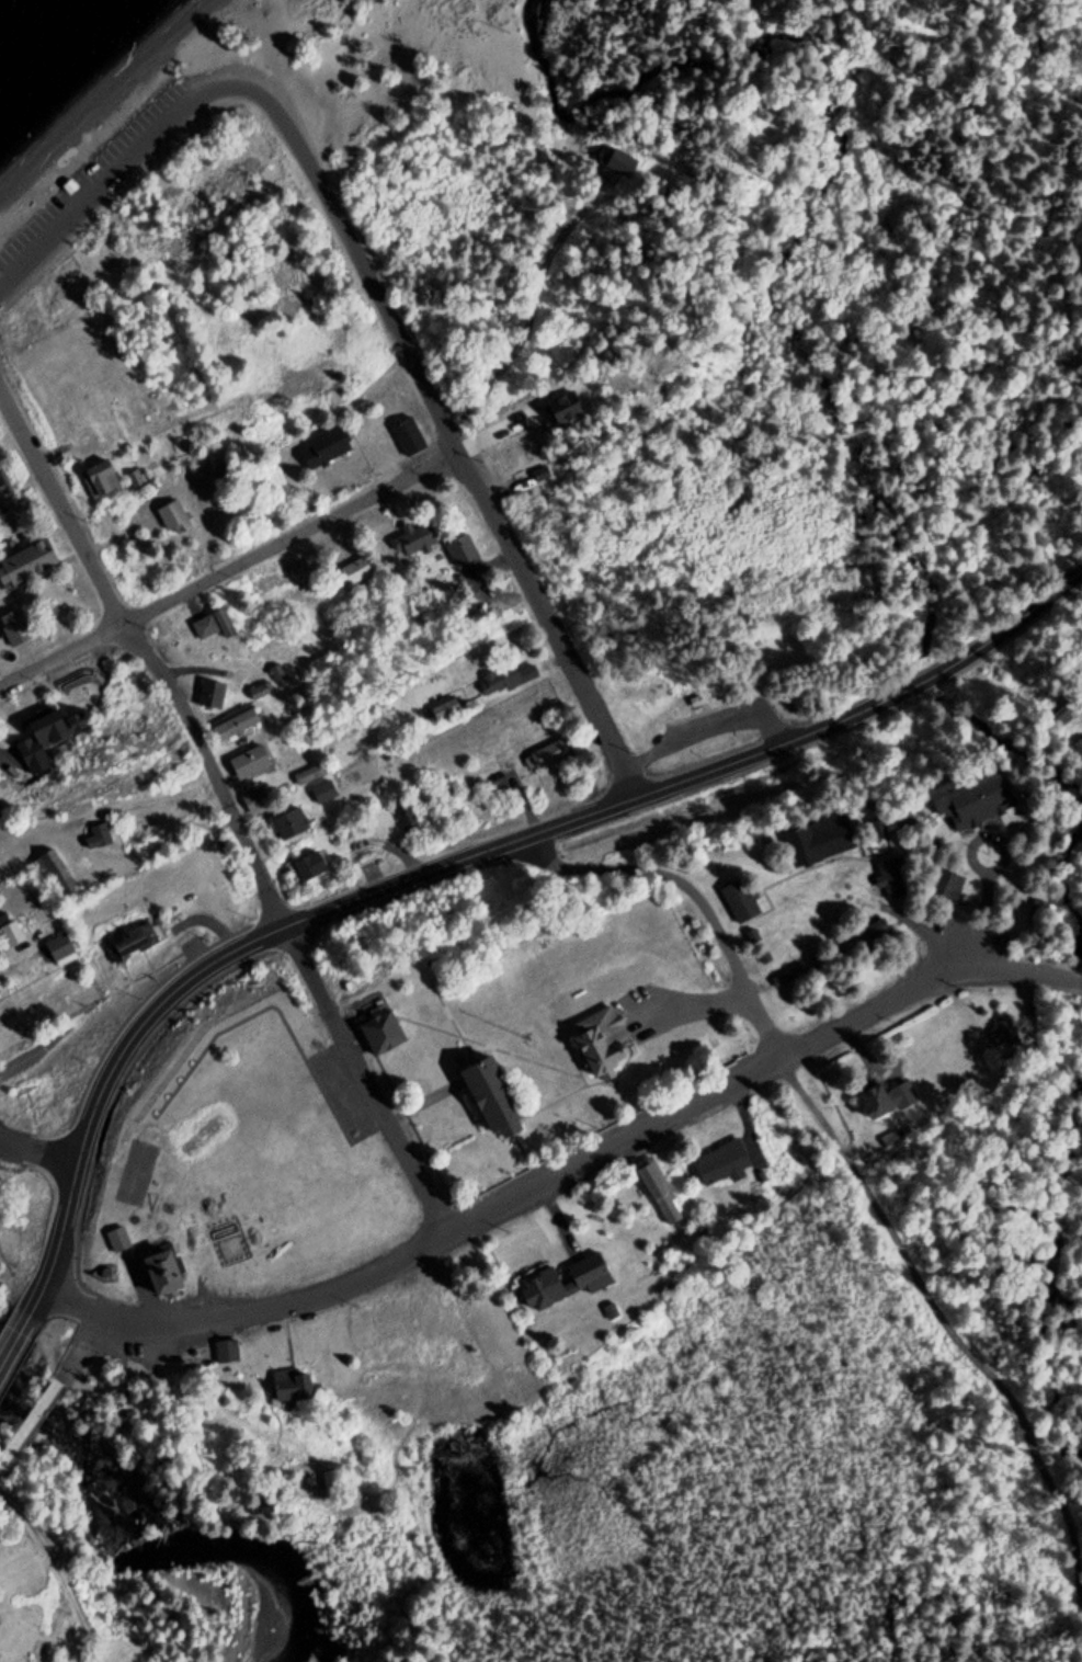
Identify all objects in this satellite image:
parking lot: (116, 162)
road: (129, 174)
building: (70, 182)
road: (548, 237)
building: (407, 436)
building: (324, 447)
road: (455, 451)
building: (99, 479)
building: (3, 487)
building: (172, 516)
building: (415, 536)
building: (26, 564)
road: (227, 568)
building: (355, 570)
road: (1047, 597)
building: (210, 625)
building: (12, 629)
building: (505, 680)
building: (258, 692)
building: (216, 696)
building: (693, 702)
road: (703, 706)
road: (686, 712)
road: (693, 715)
building: (239, 722)
building: (45, 724)
parking lot: (728, 725)
road: (704, 733)
building: (547, 756)
building: (249, 762)
building: (308, 775)
road: (656, 788)
building: (321, 793)
building: (971, 798)
building: (254, 800)
road: (228, 808)
building: (407, 820)
building: (288, 824)
building: (98, 836)
building: (810, 845)
building: (308, 866)
road: (617, 869)
building: (54, 872)
building: (9, 873)
building: (886, 875)
building: (946, 886)
building: (739, 900)
road: (960, 930)
building: (11, 933)
building: (132, 942)
building: (60, 949)
building: (1, 954)
road: (1017, 969)
building: (790, 979)
road: (744, 982)
building: (1000, 1032)
building: (604, 1038)
road: (103, 1080)
building: (492, 1095)
building: (887, 1098)
road: (37, 1151)
building: (722, 1162)
park: (136, 1173)
building: (660, 1194)
road: (510, 1199)
road: (879, 1214)
building: (117, 1239)
building: (164, 1273)
building: (560, 1282)
parking lot: (126, 1336)
road: (15, 1342)
road: (78, 1346)
building: (227, 1351)
building: (293, 1386)
road: (29, 1423)
river: (174, 1550)

